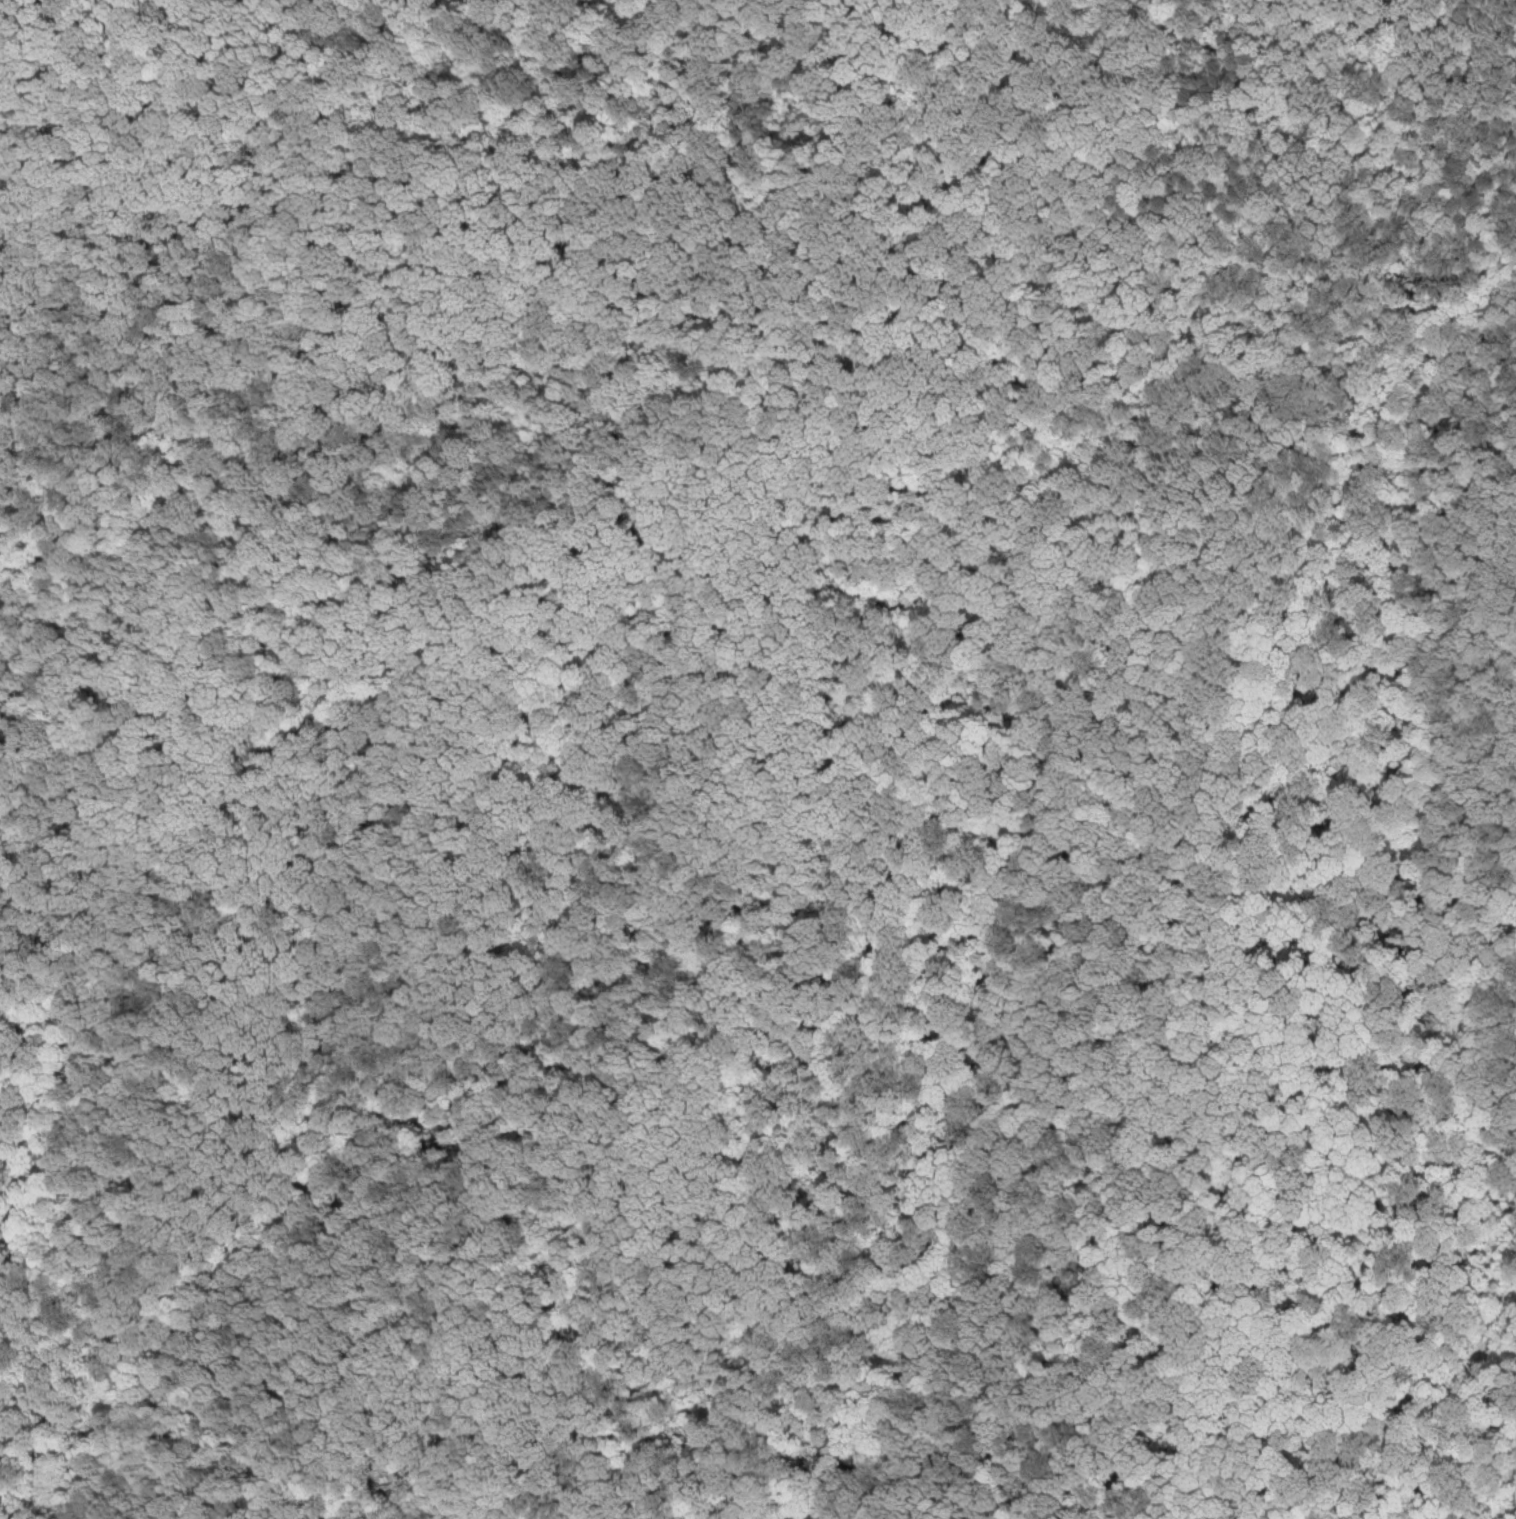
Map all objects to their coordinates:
road: (1391, 72)
road: (397, 160)
road: (1197, 675)

